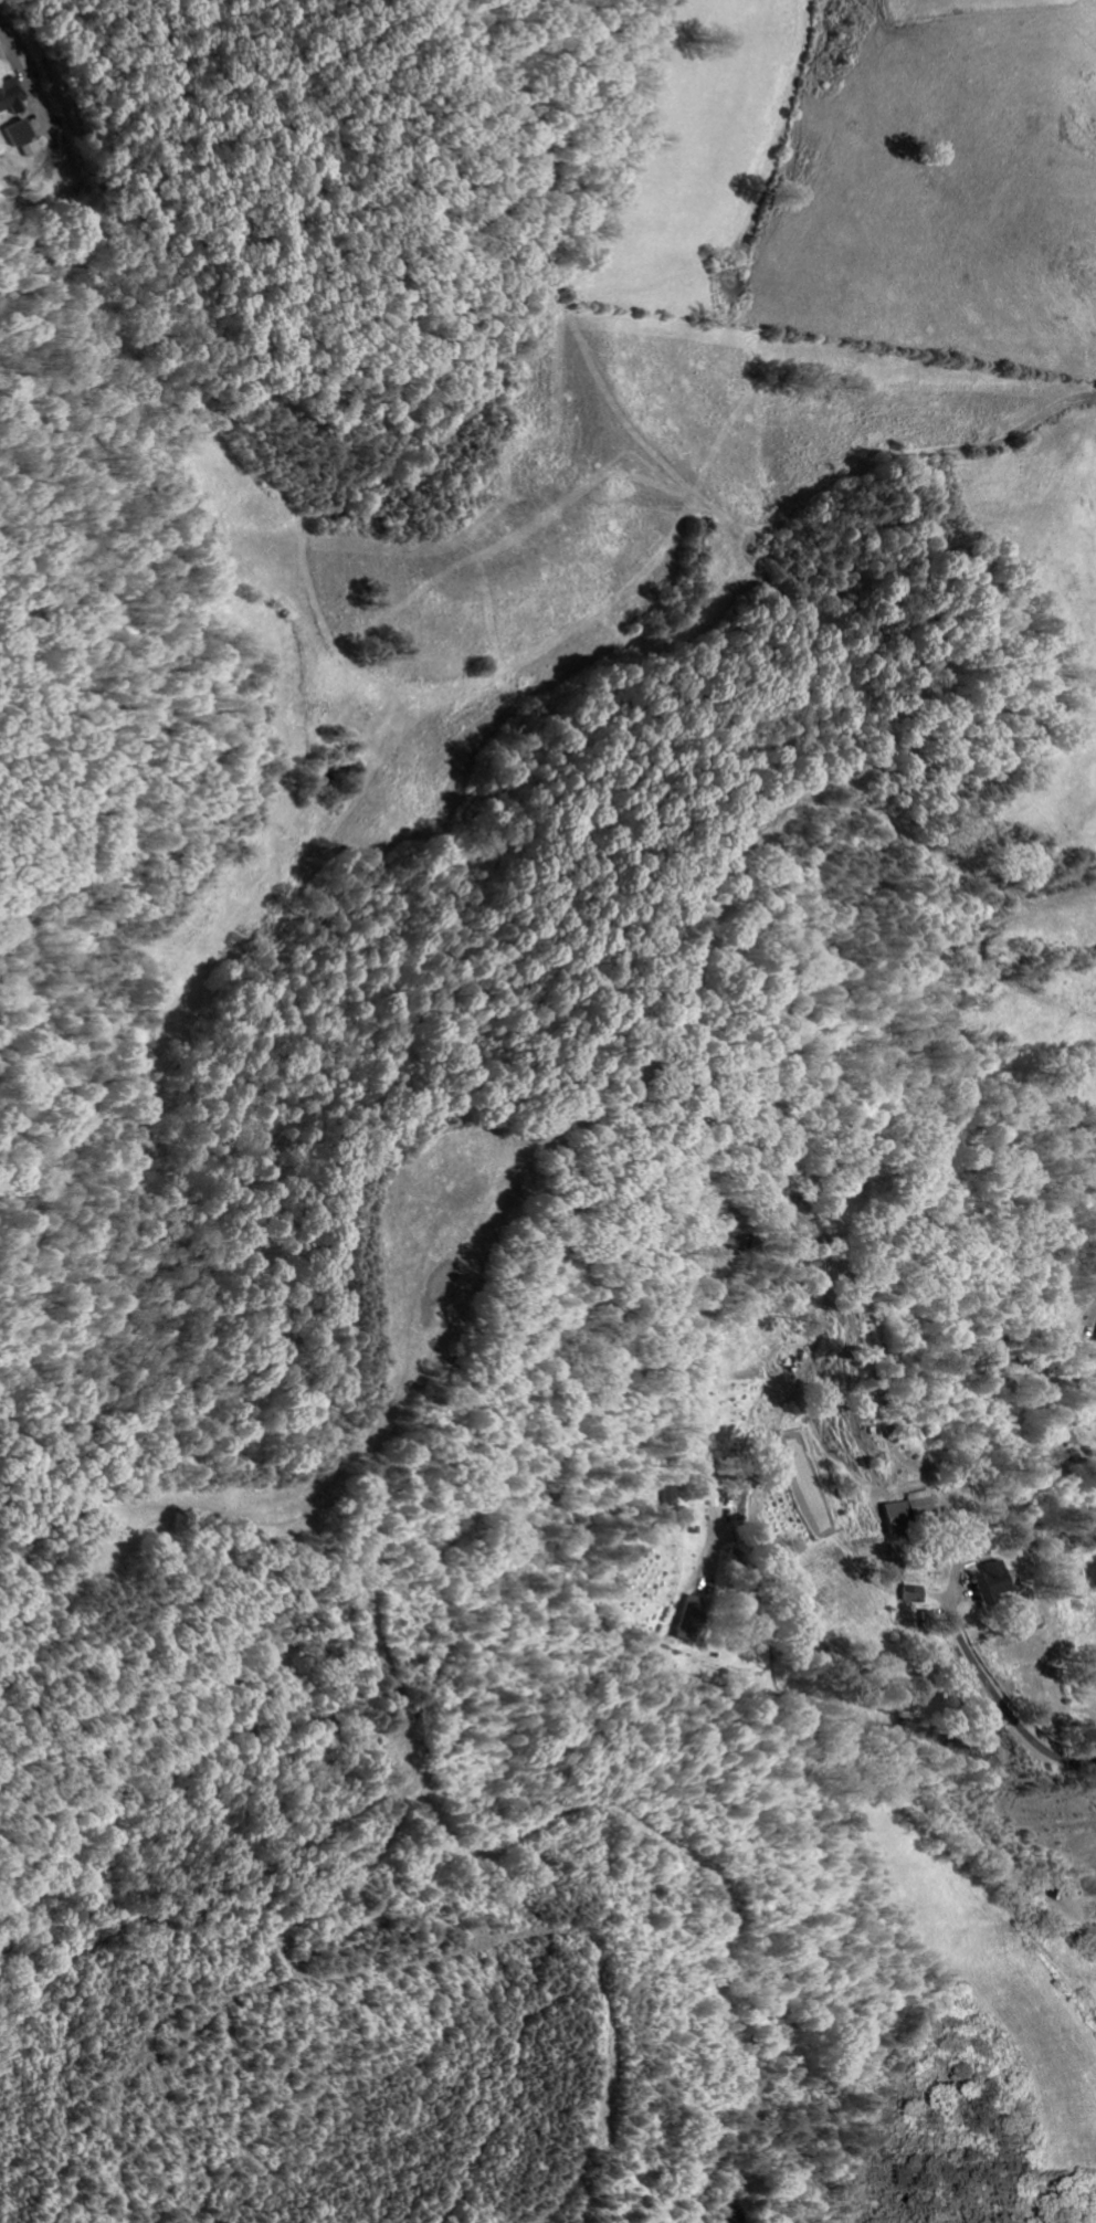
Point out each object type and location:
road: (9, 46)
building: (8, 95)
building: (15, 136)
building: (663, 1493)
building: (899, 1510)
building: (988, 1582)
building: (905, 1593)
building: (685, 1619)
road: (973, 1681)

